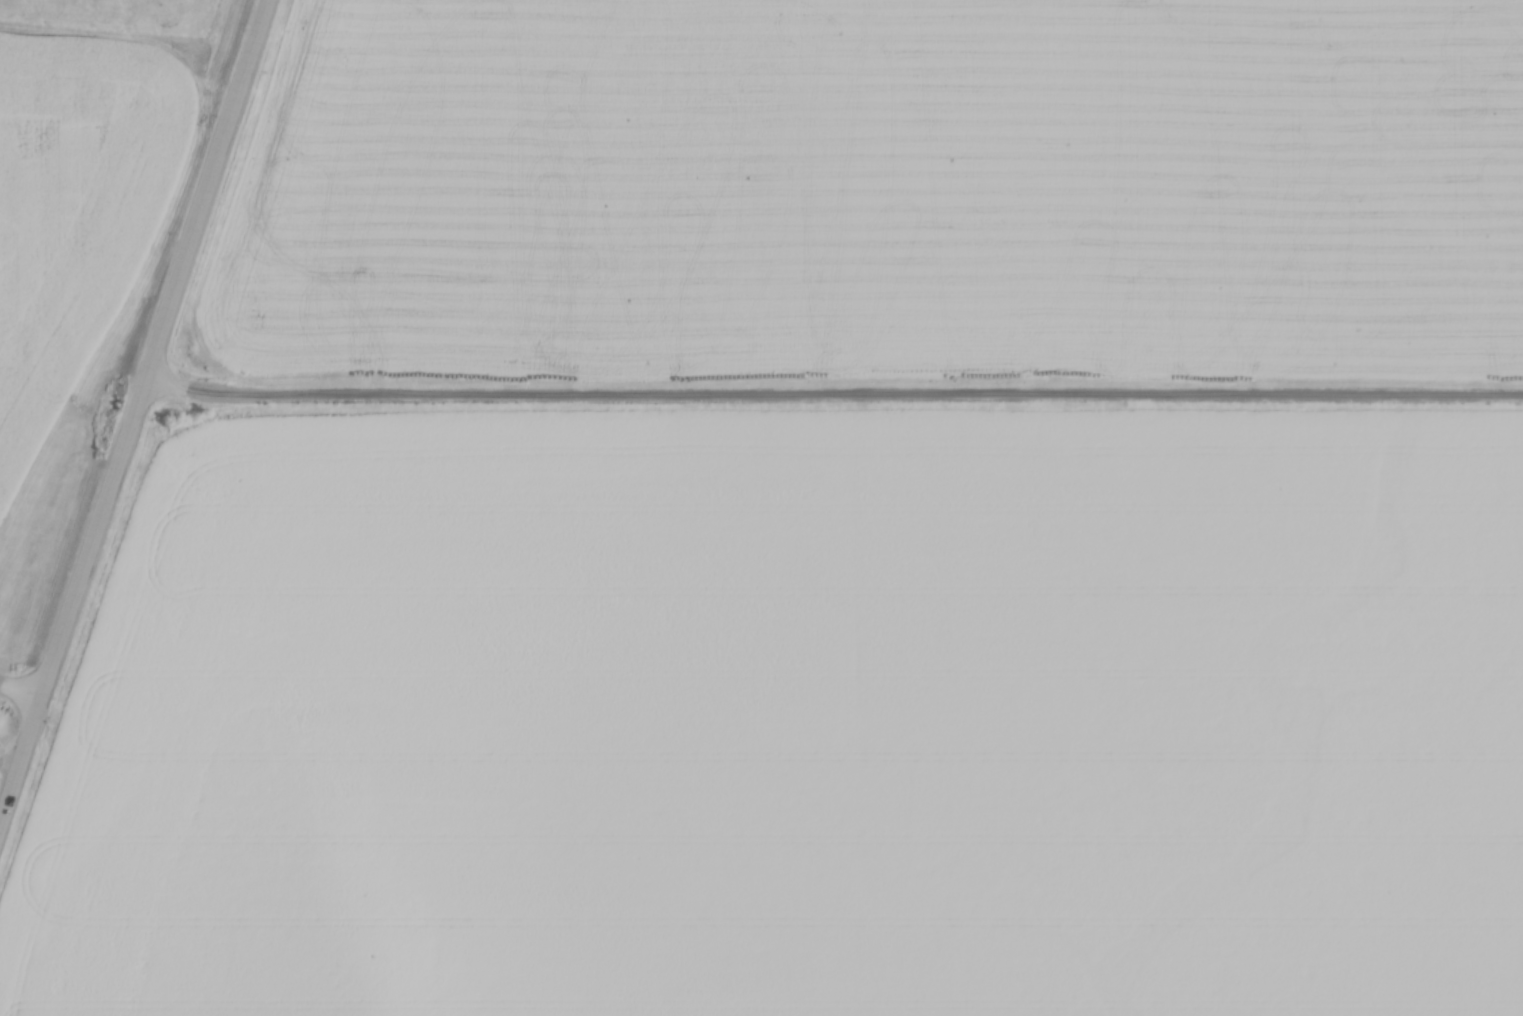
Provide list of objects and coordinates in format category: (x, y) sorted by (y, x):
road: (834, 397)
road: (135, 419)
road: (23, 695)
road: (12, 765)

